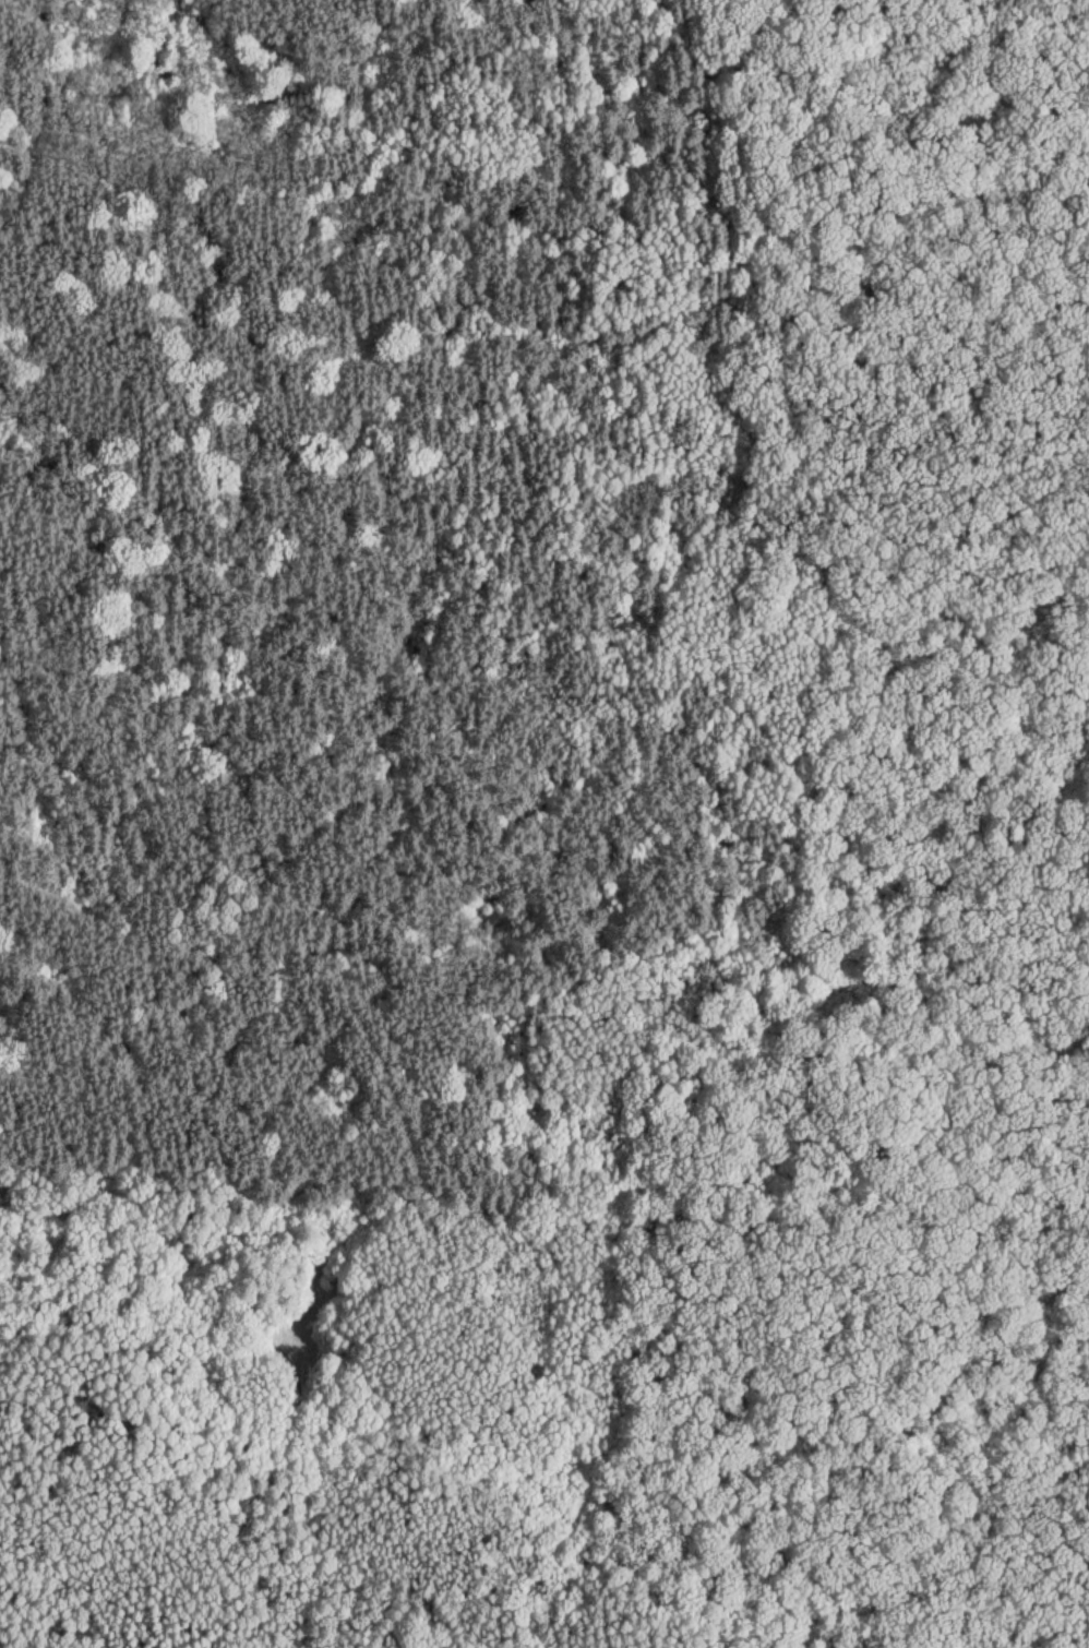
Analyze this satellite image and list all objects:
road: (35, 115)
road: (312, 262)
road: (657, 1040)
road: (172, 1219)

